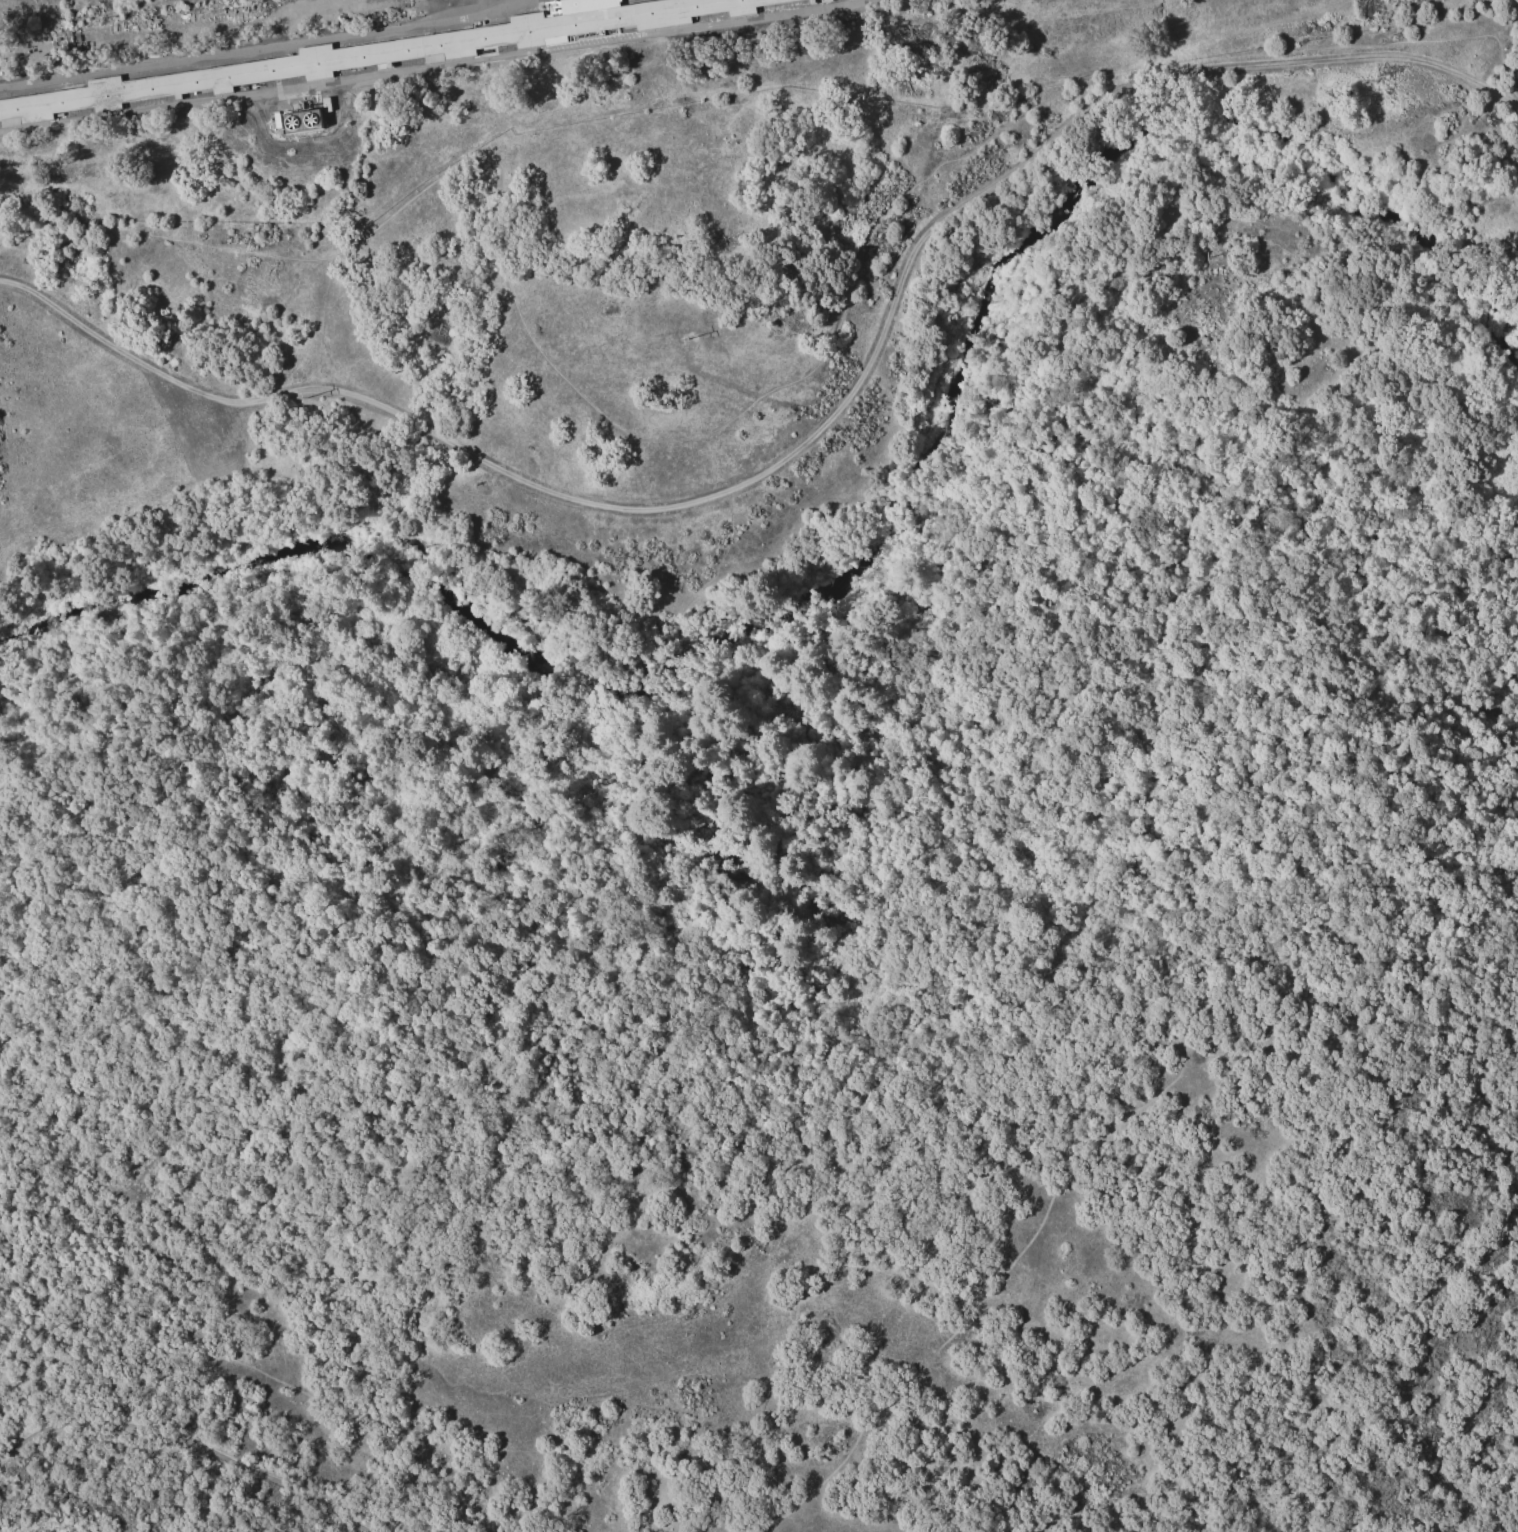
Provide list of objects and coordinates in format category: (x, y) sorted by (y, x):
road: (499, 3)
building: (839, 18)
building: (769, 33)
building: (740, 37)
building: (713, 41)
road: (246, 49)
building: (401, 52)
road: (444, 65)
building: (328, 106)
building: (277, 121)
building: (303, 123)
road: (810, 436)
road: (821, 659)
road: (1381, 862)
road: (267, 1376)
road: (196, 1441)

